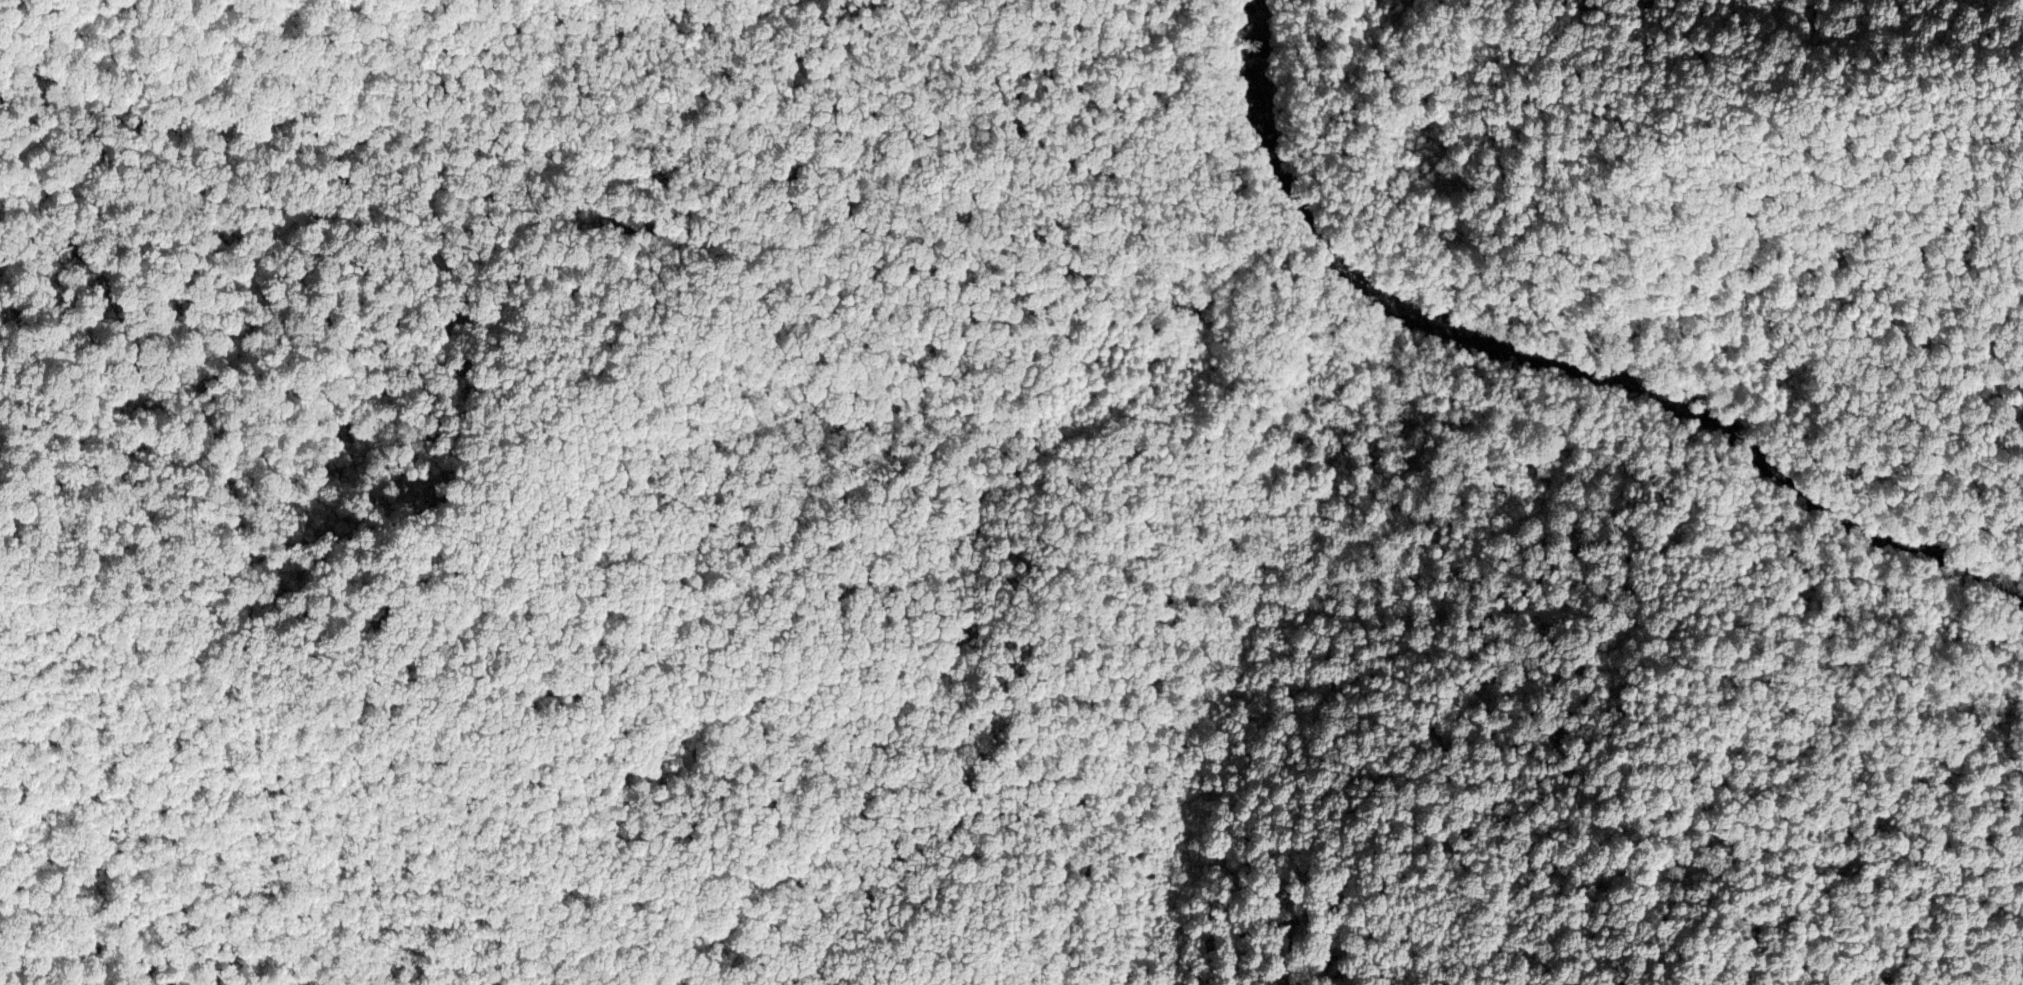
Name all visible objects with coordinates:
river: (1253, 15)
road: (1613, 351)
river: (1572, 374)
road: (1204, 684)
road: (328, 717)

